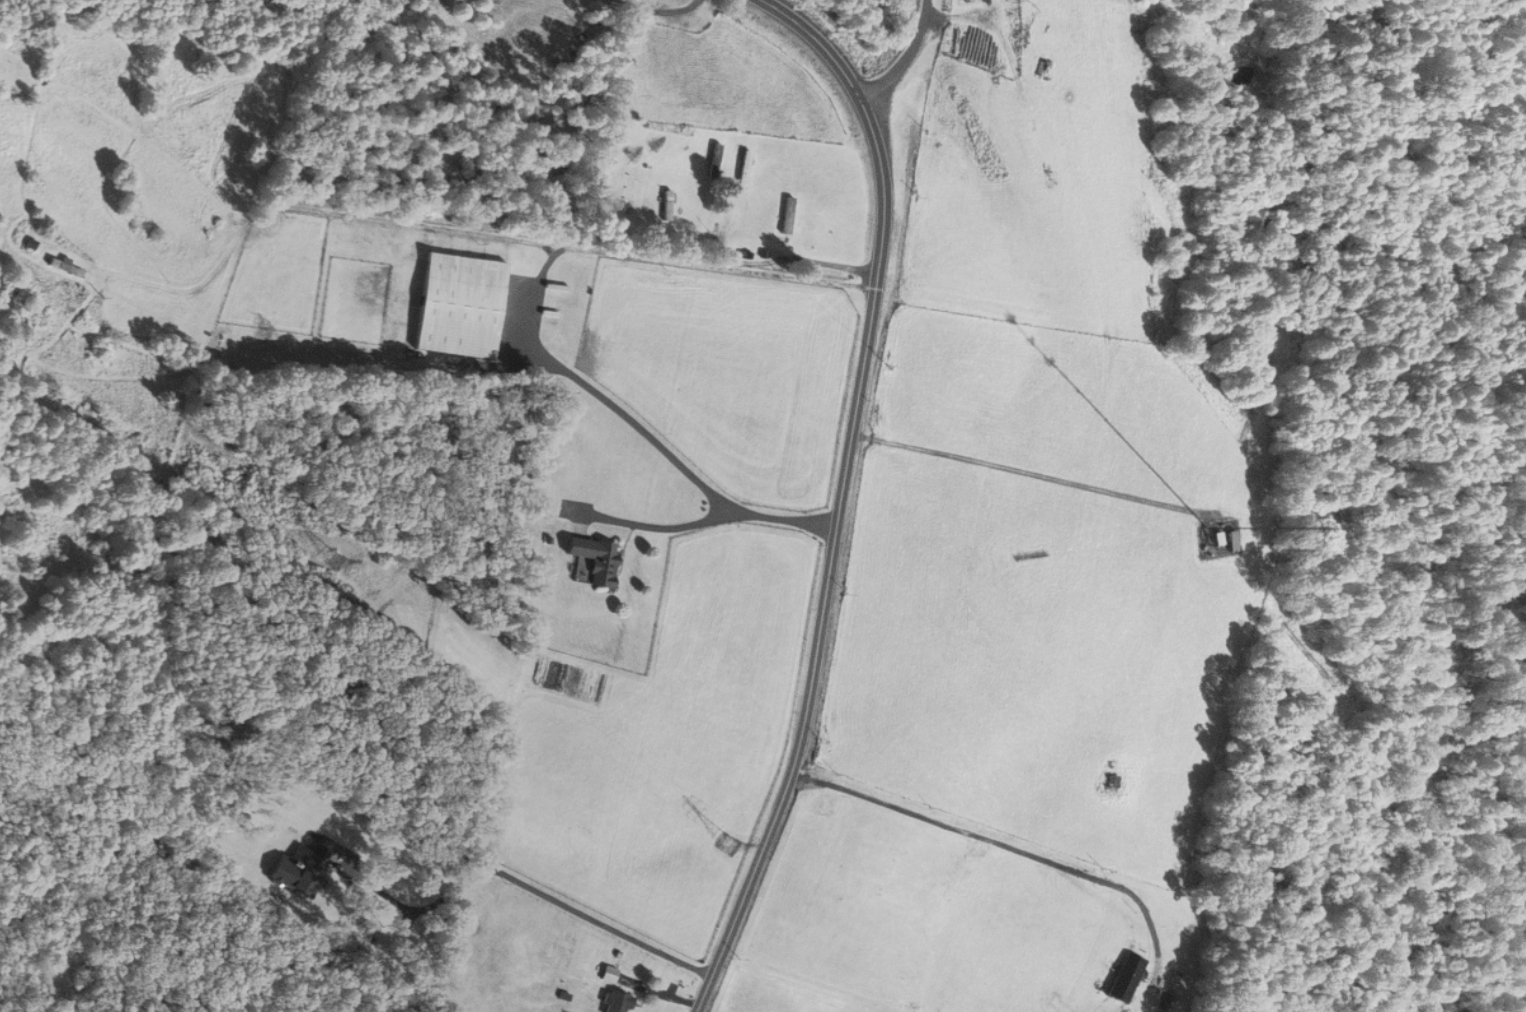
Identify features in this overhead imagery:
road: (903, 57)
building: (714, 161)
building: (744, 168)
road: (473, 231)
building: (459, 304)
road: (841, 493)
building: (1224, 542)
building: (592, 561)
power tower: (730, 844)
building: (309, 869)
road: (497, 869)
building: (609, 974)
building: (616, 1002)

